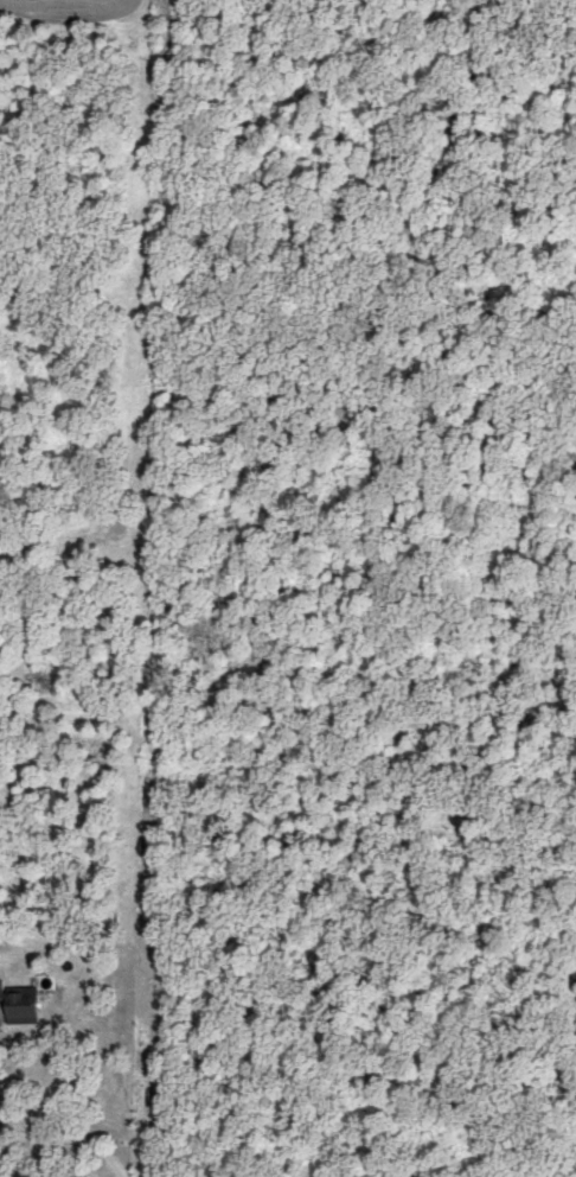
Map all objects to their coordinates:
building: (18, 1005)
road: (82, 1130)

